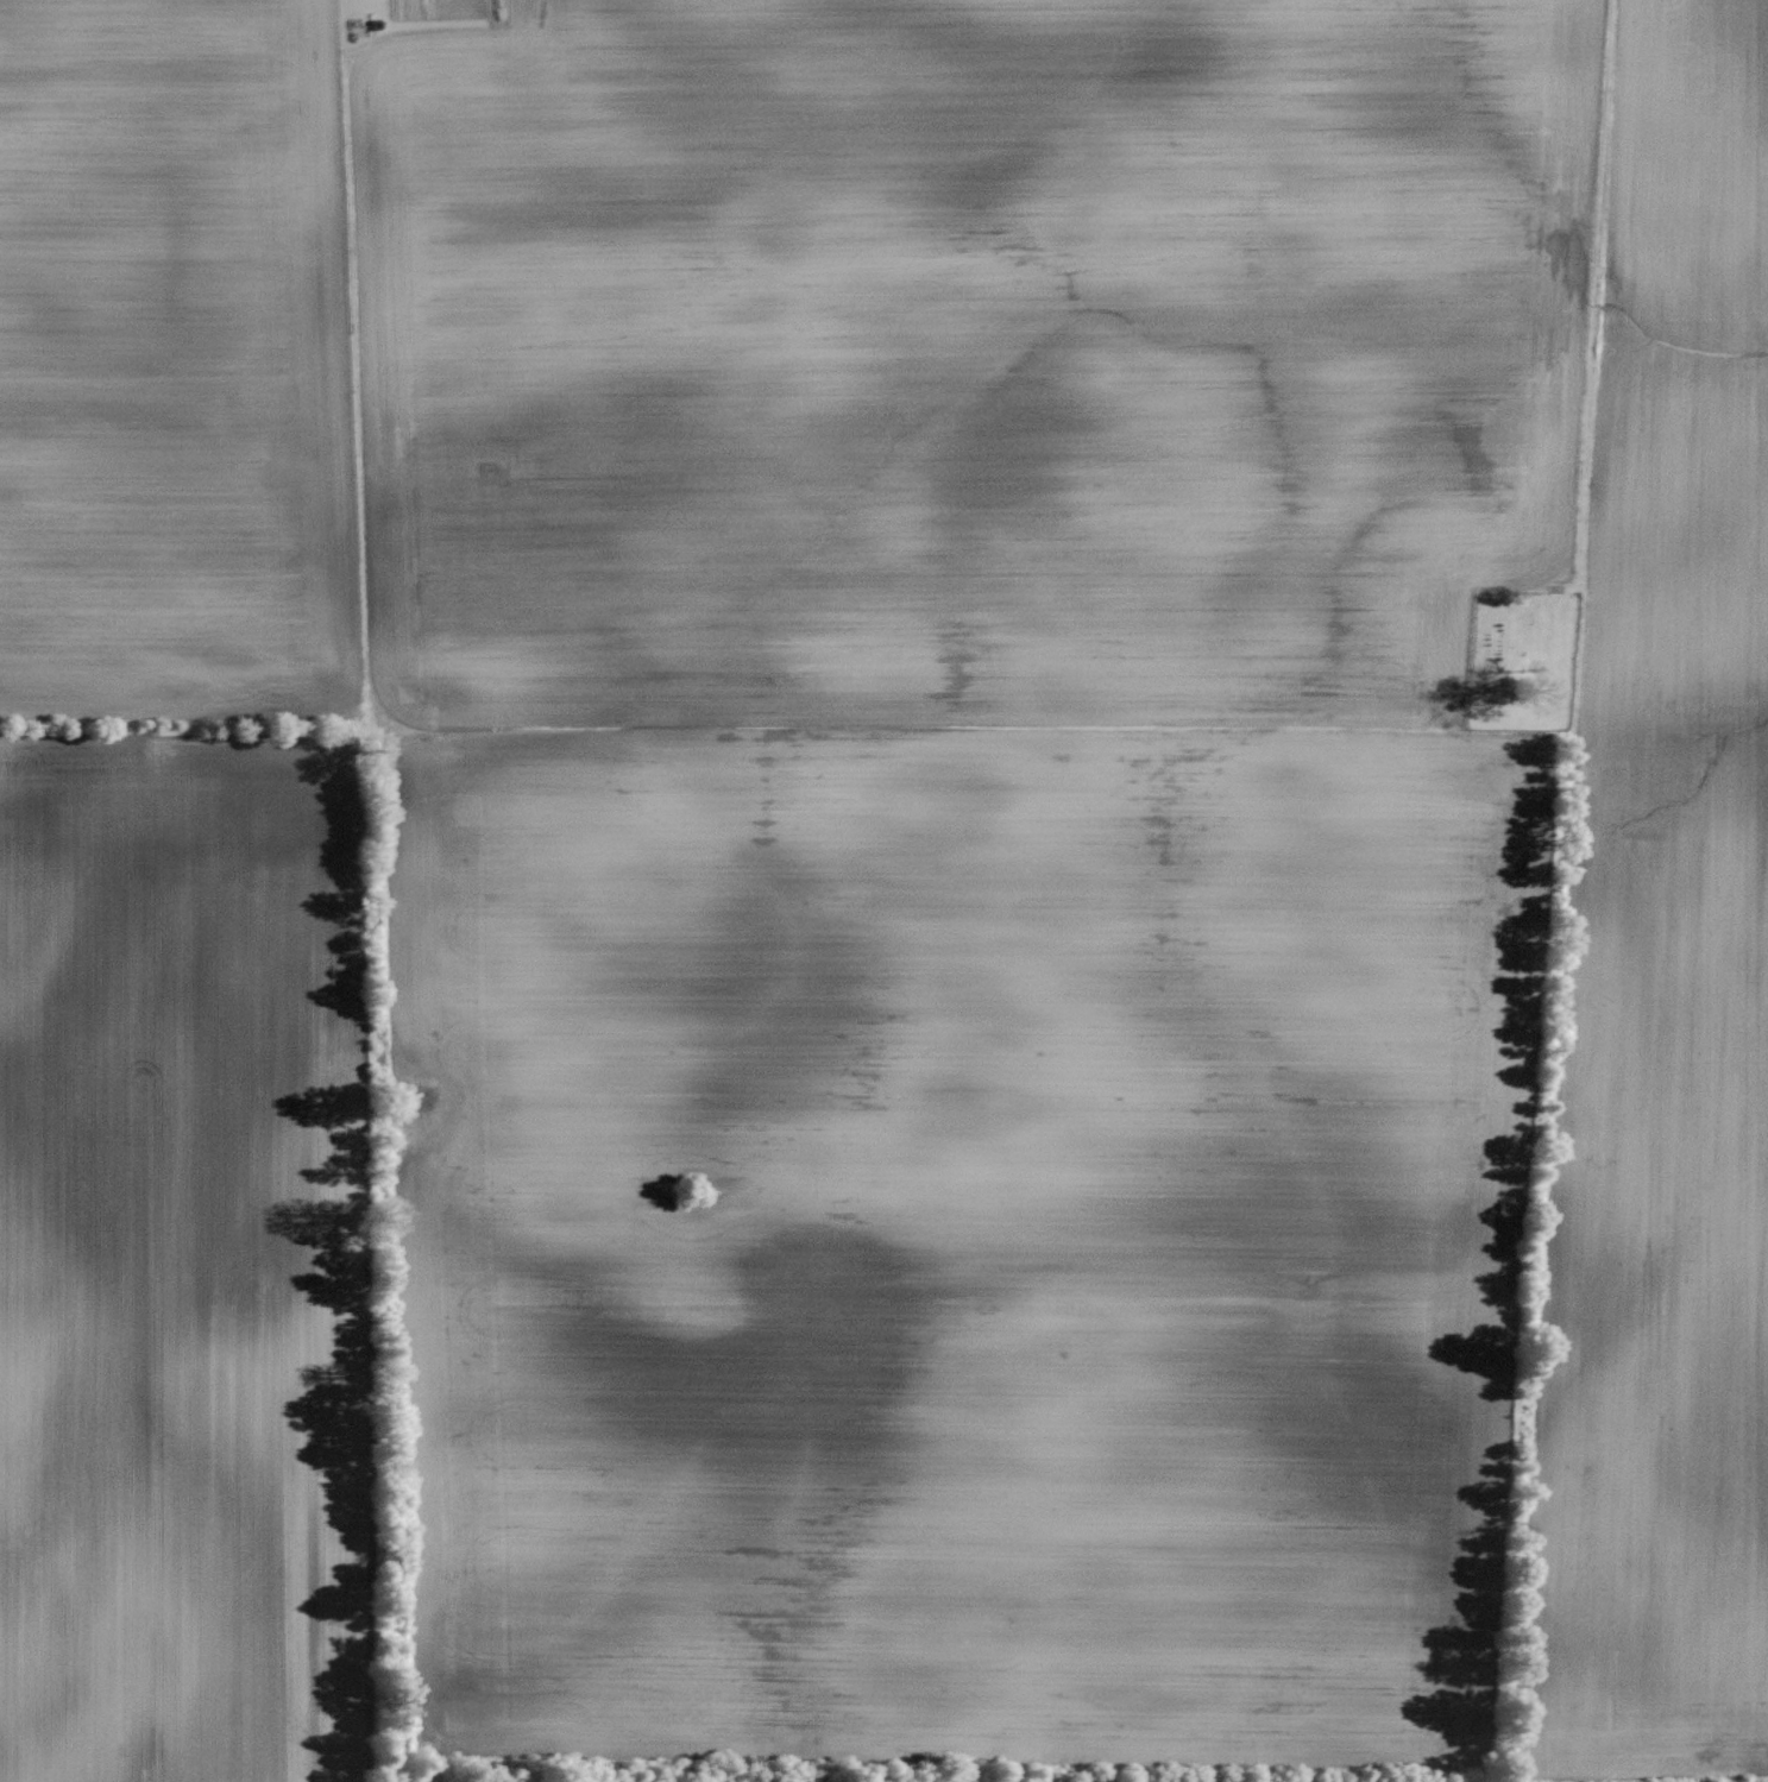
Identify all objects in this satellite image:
road: (1569, 265)

